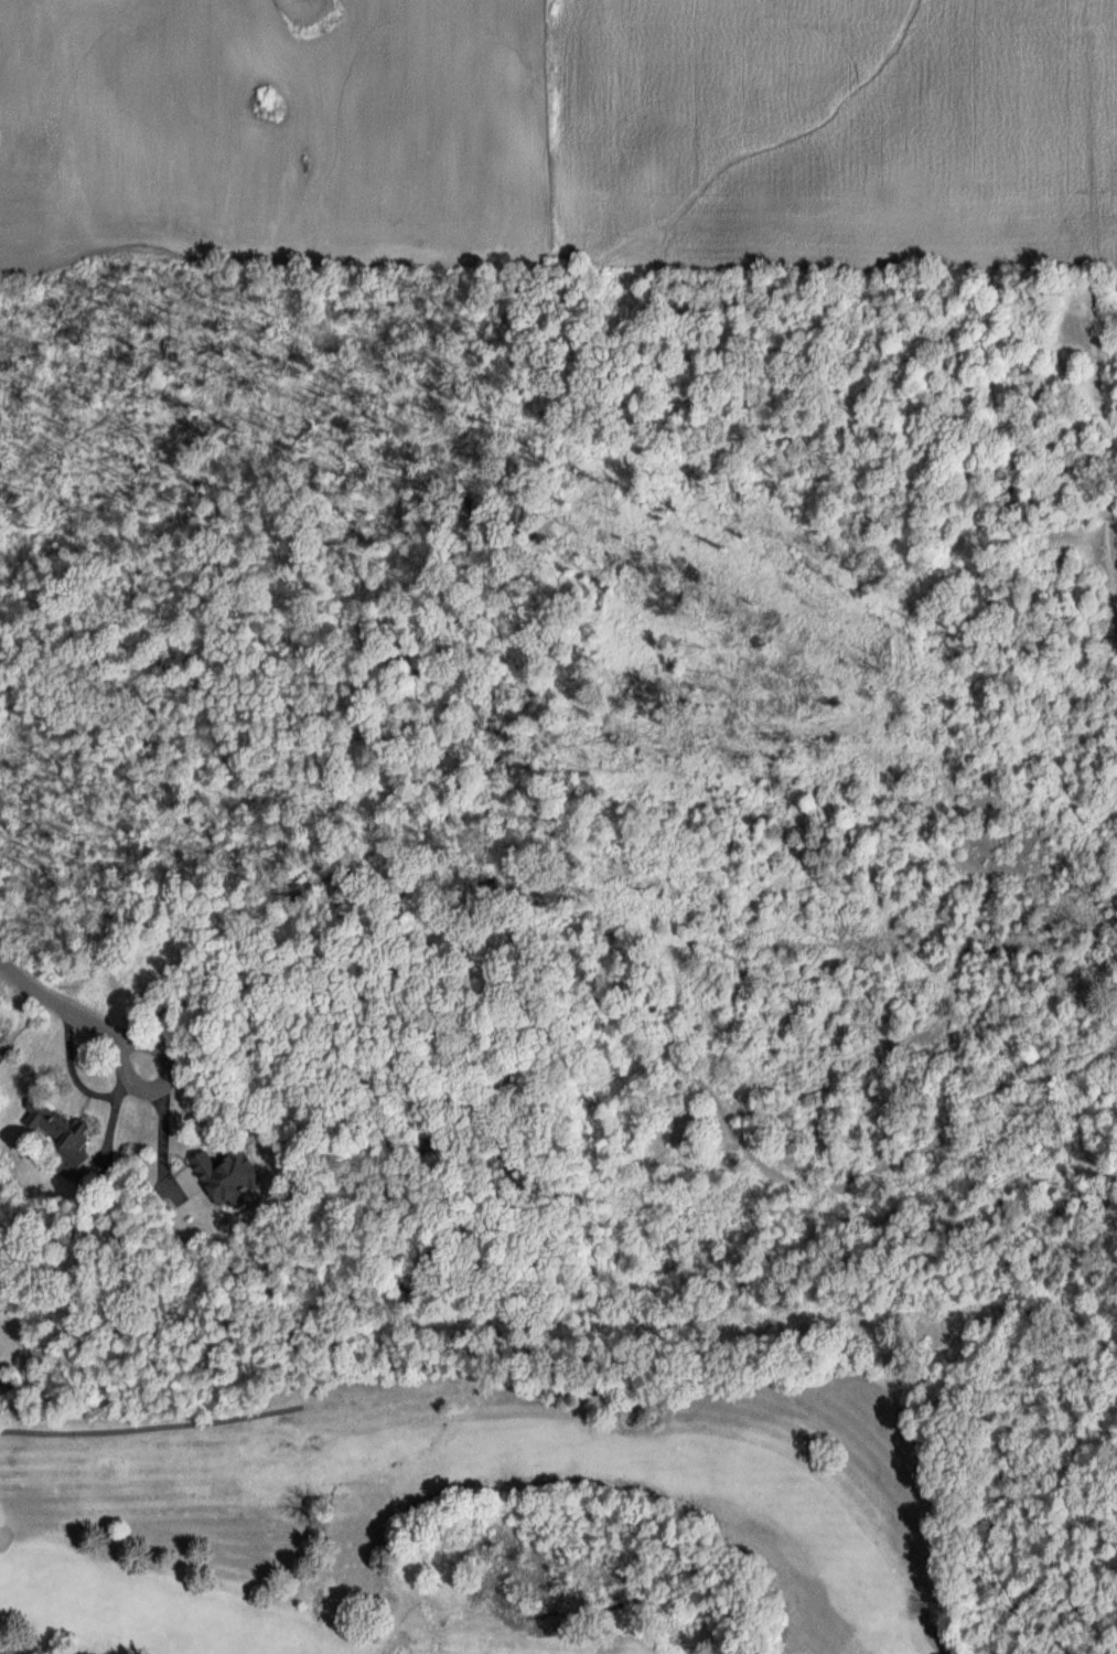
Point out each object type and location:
crop: (920, 114)
road: (53, 1002)
road: (162, 1084)
building: (55, 1129)
building: (224, 1167)
park: (438, 1508)

